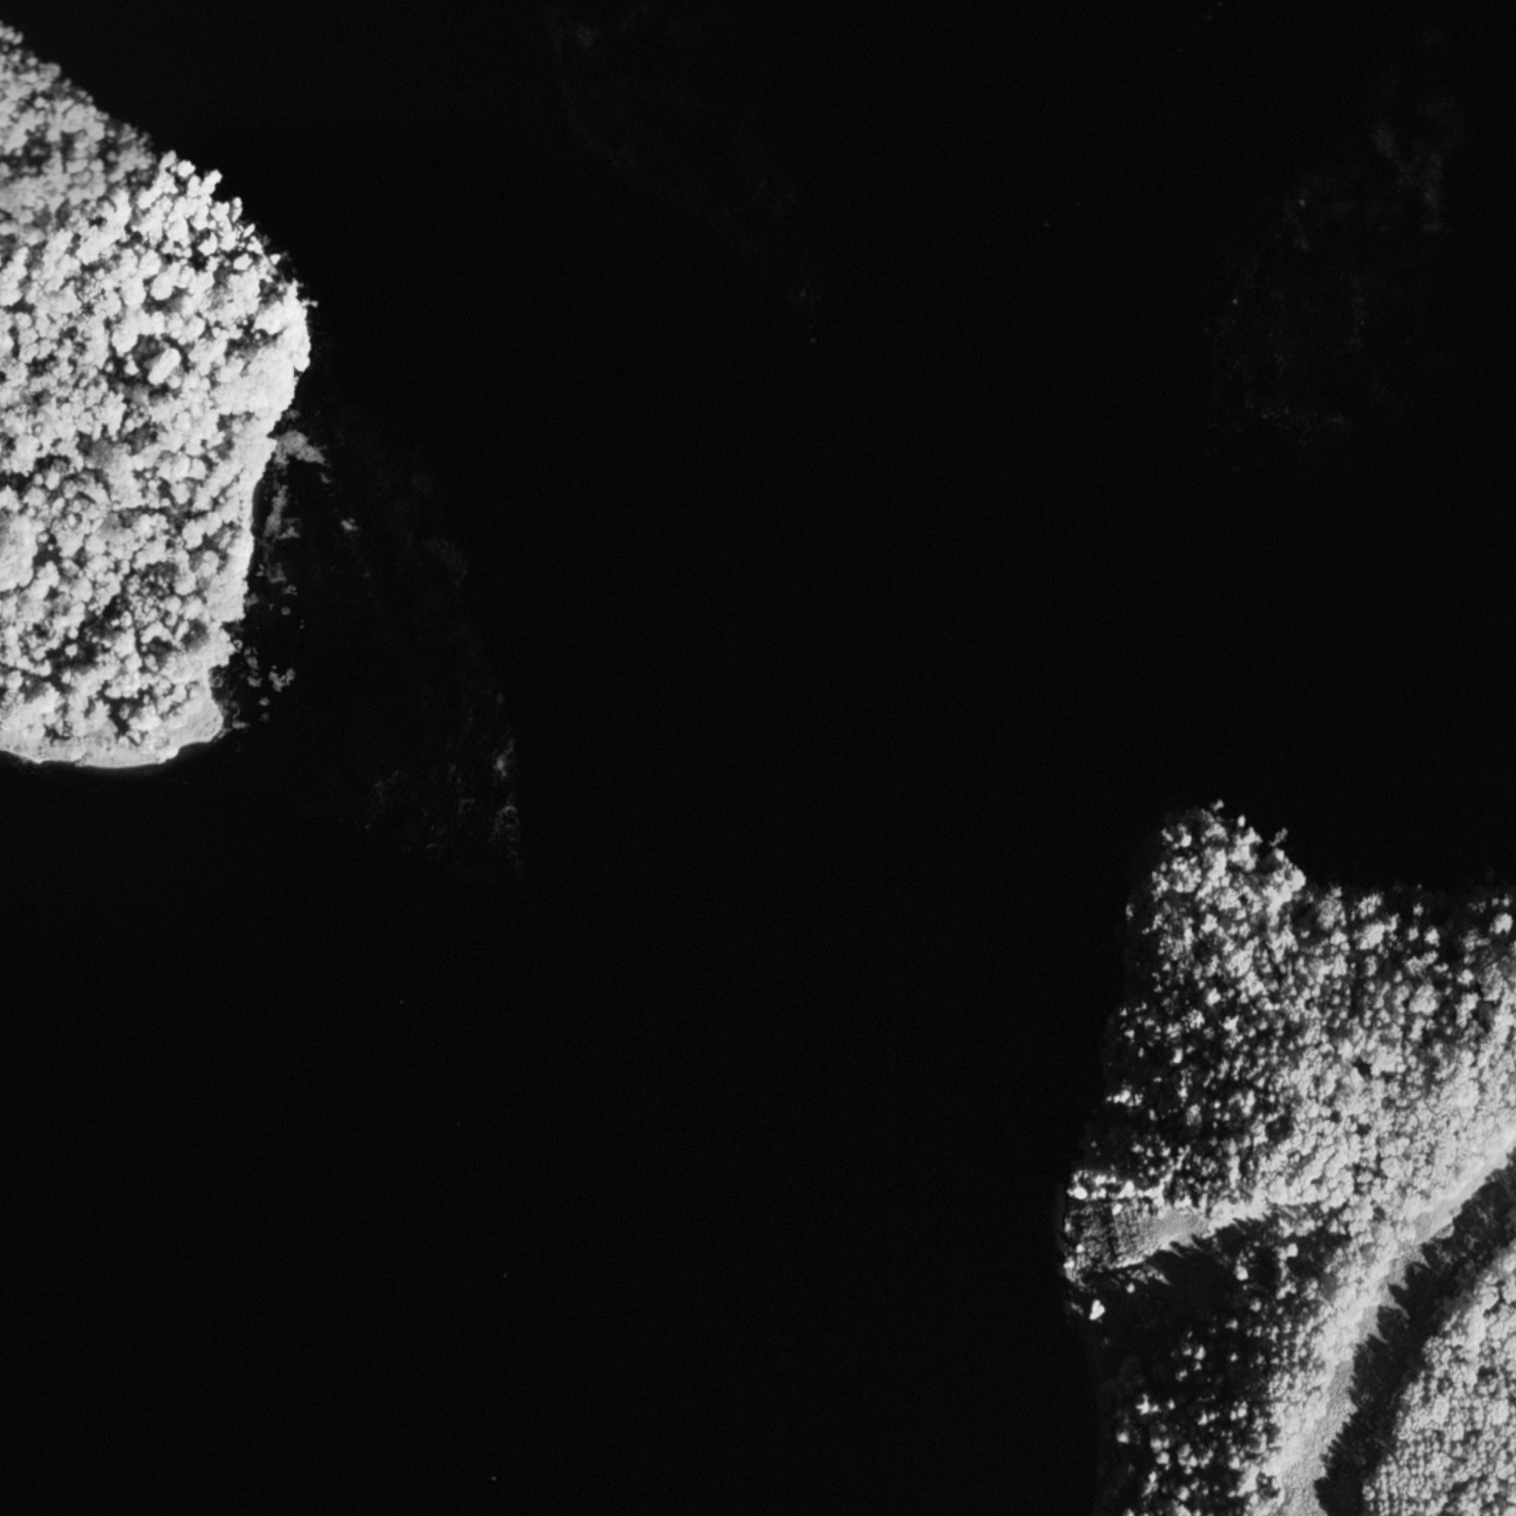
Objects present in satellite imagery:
river: (864, 915)
power tower: (1411, 1270)
road: (1404, 1338)

